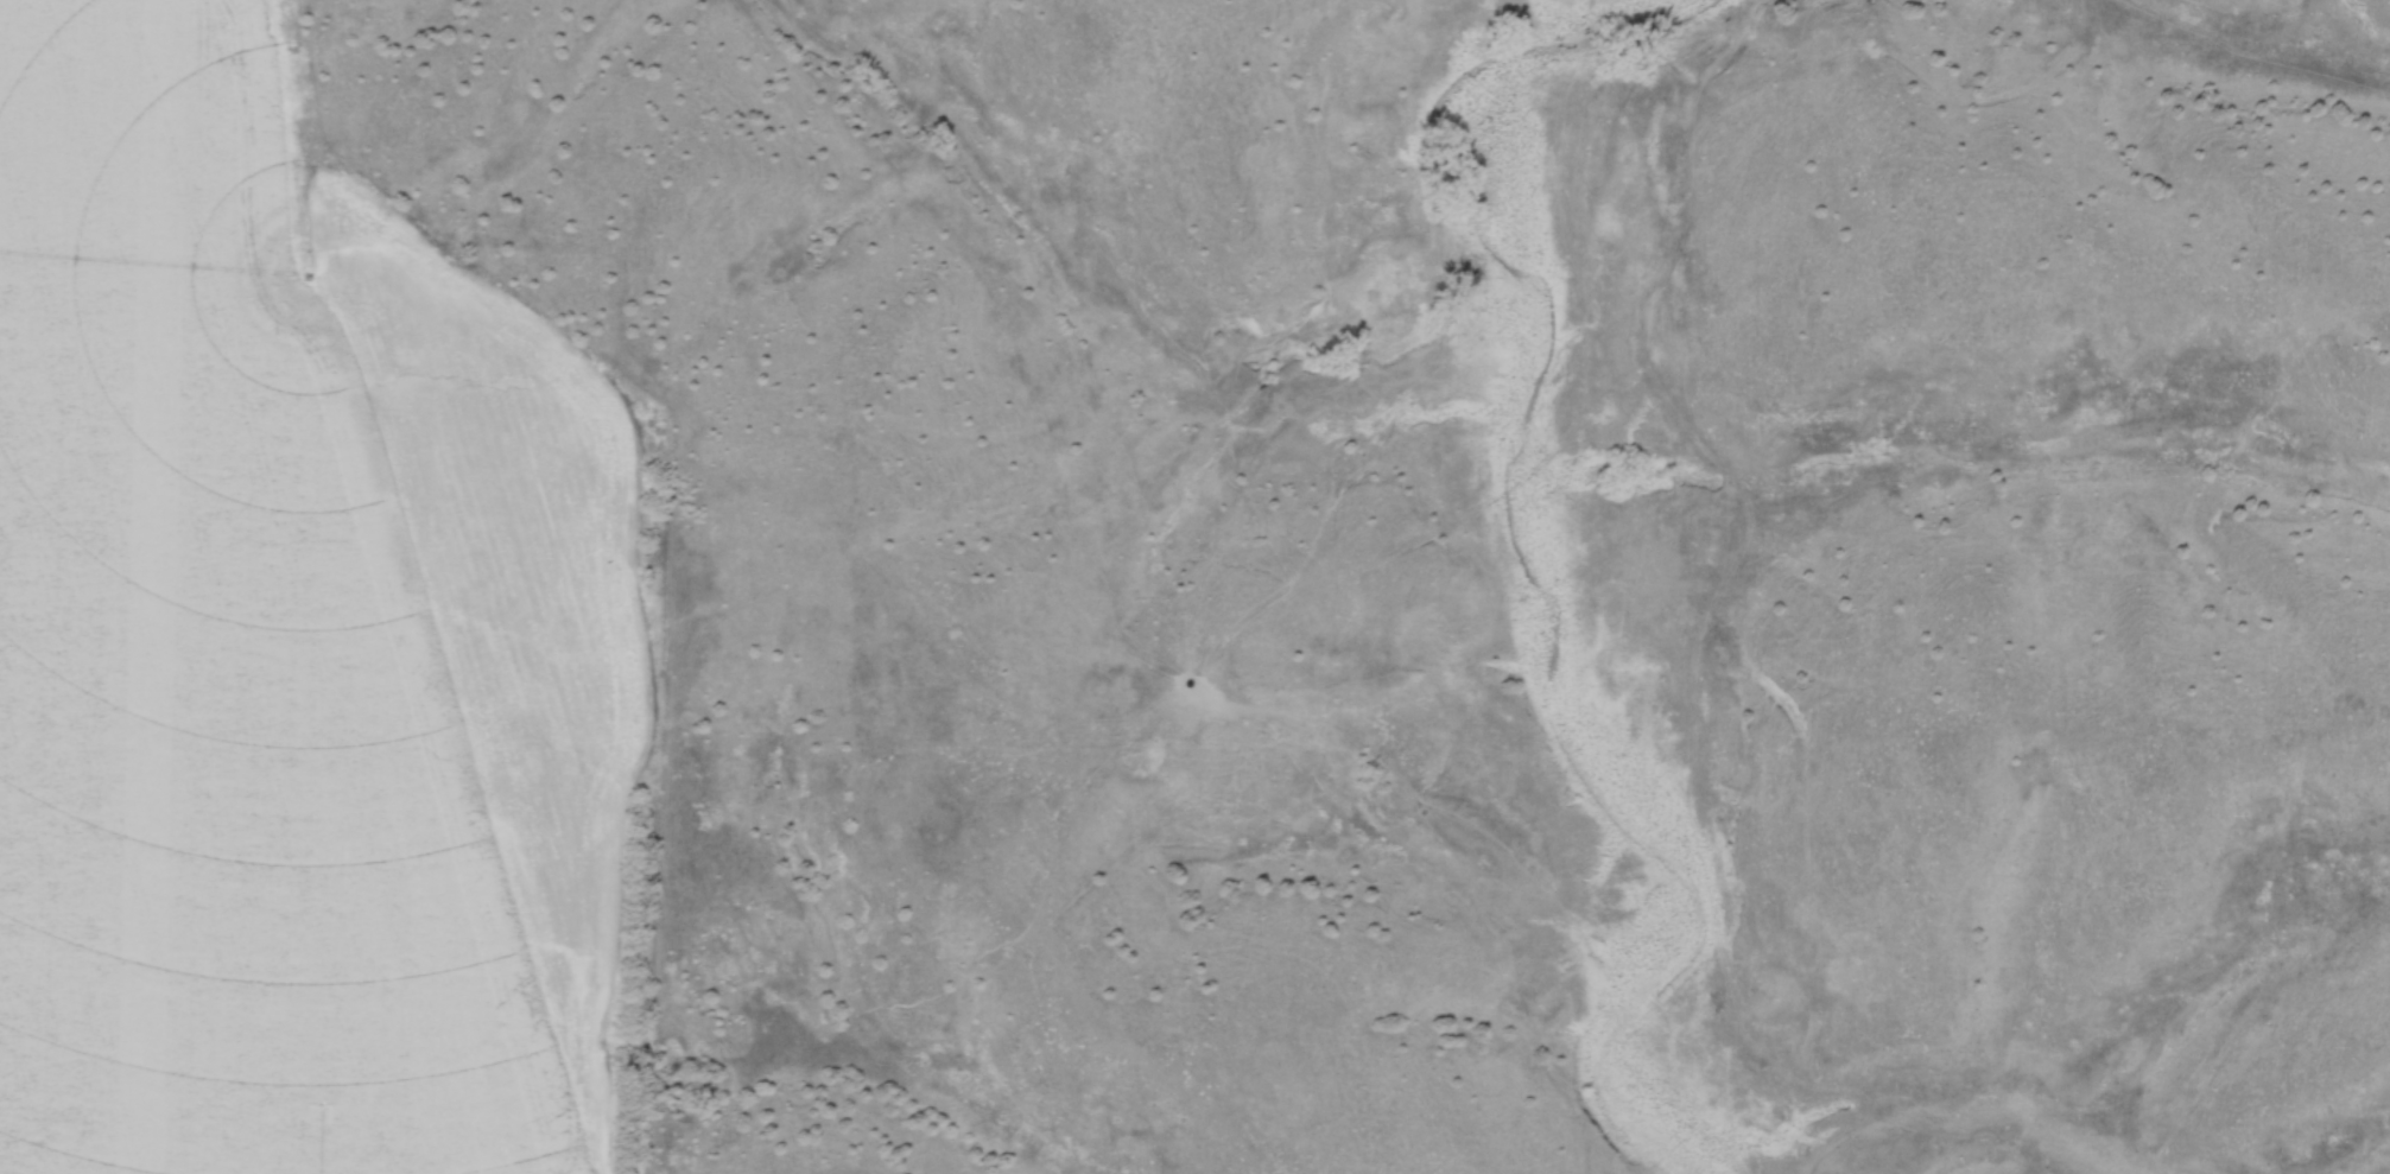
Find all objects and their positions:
crop: (522, 589)
crop: (227, 666)

